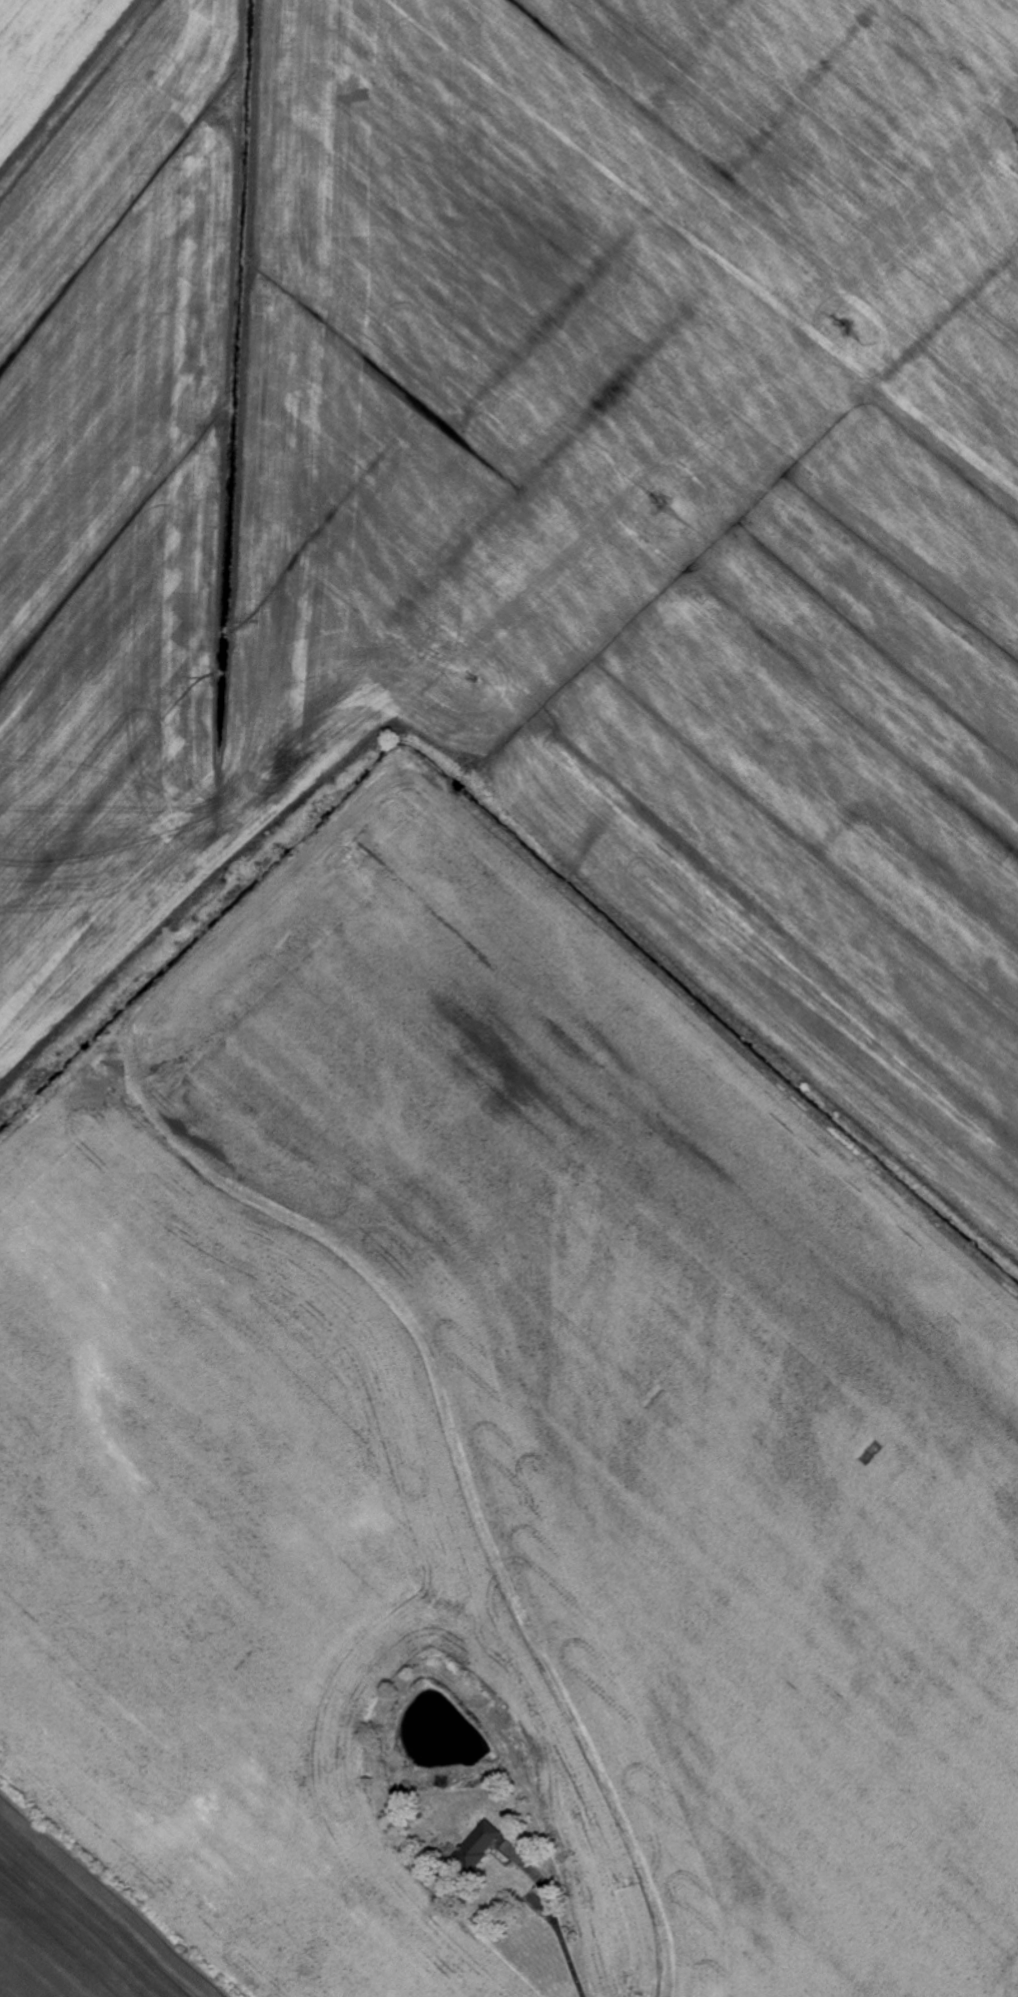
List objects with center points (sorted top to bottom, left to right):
building: (485, 1837)

